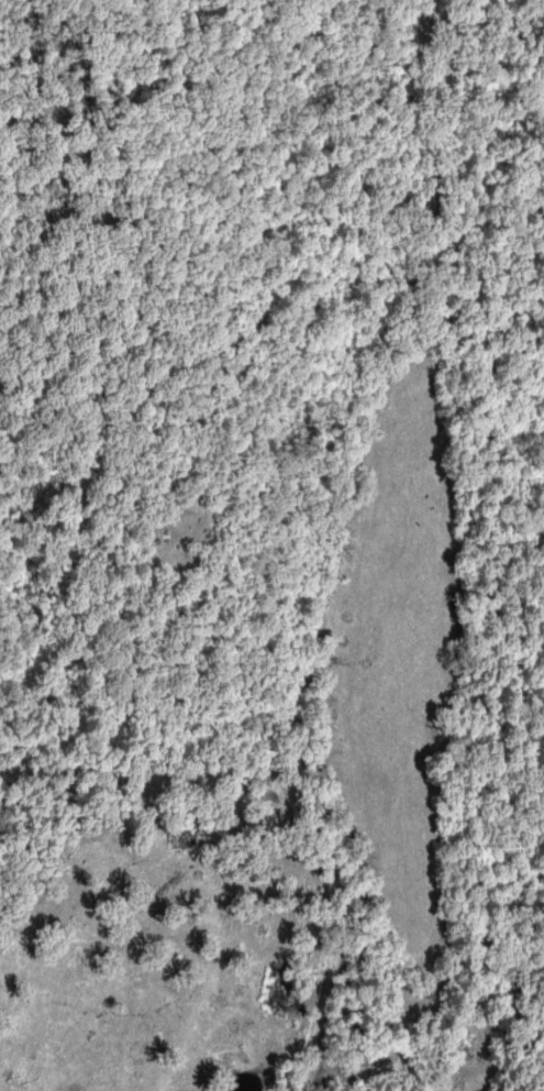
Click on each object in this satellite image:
road: (335, 545)

